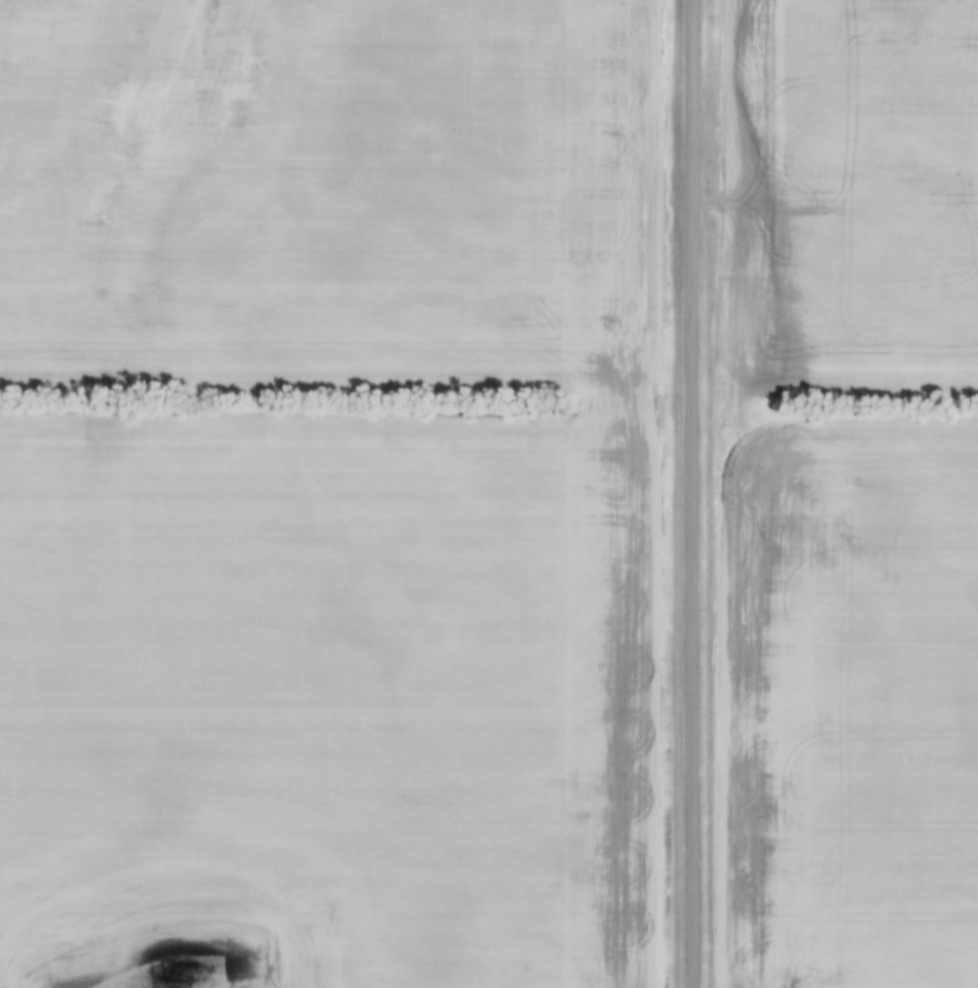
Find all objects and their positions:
road: (692, 493)

